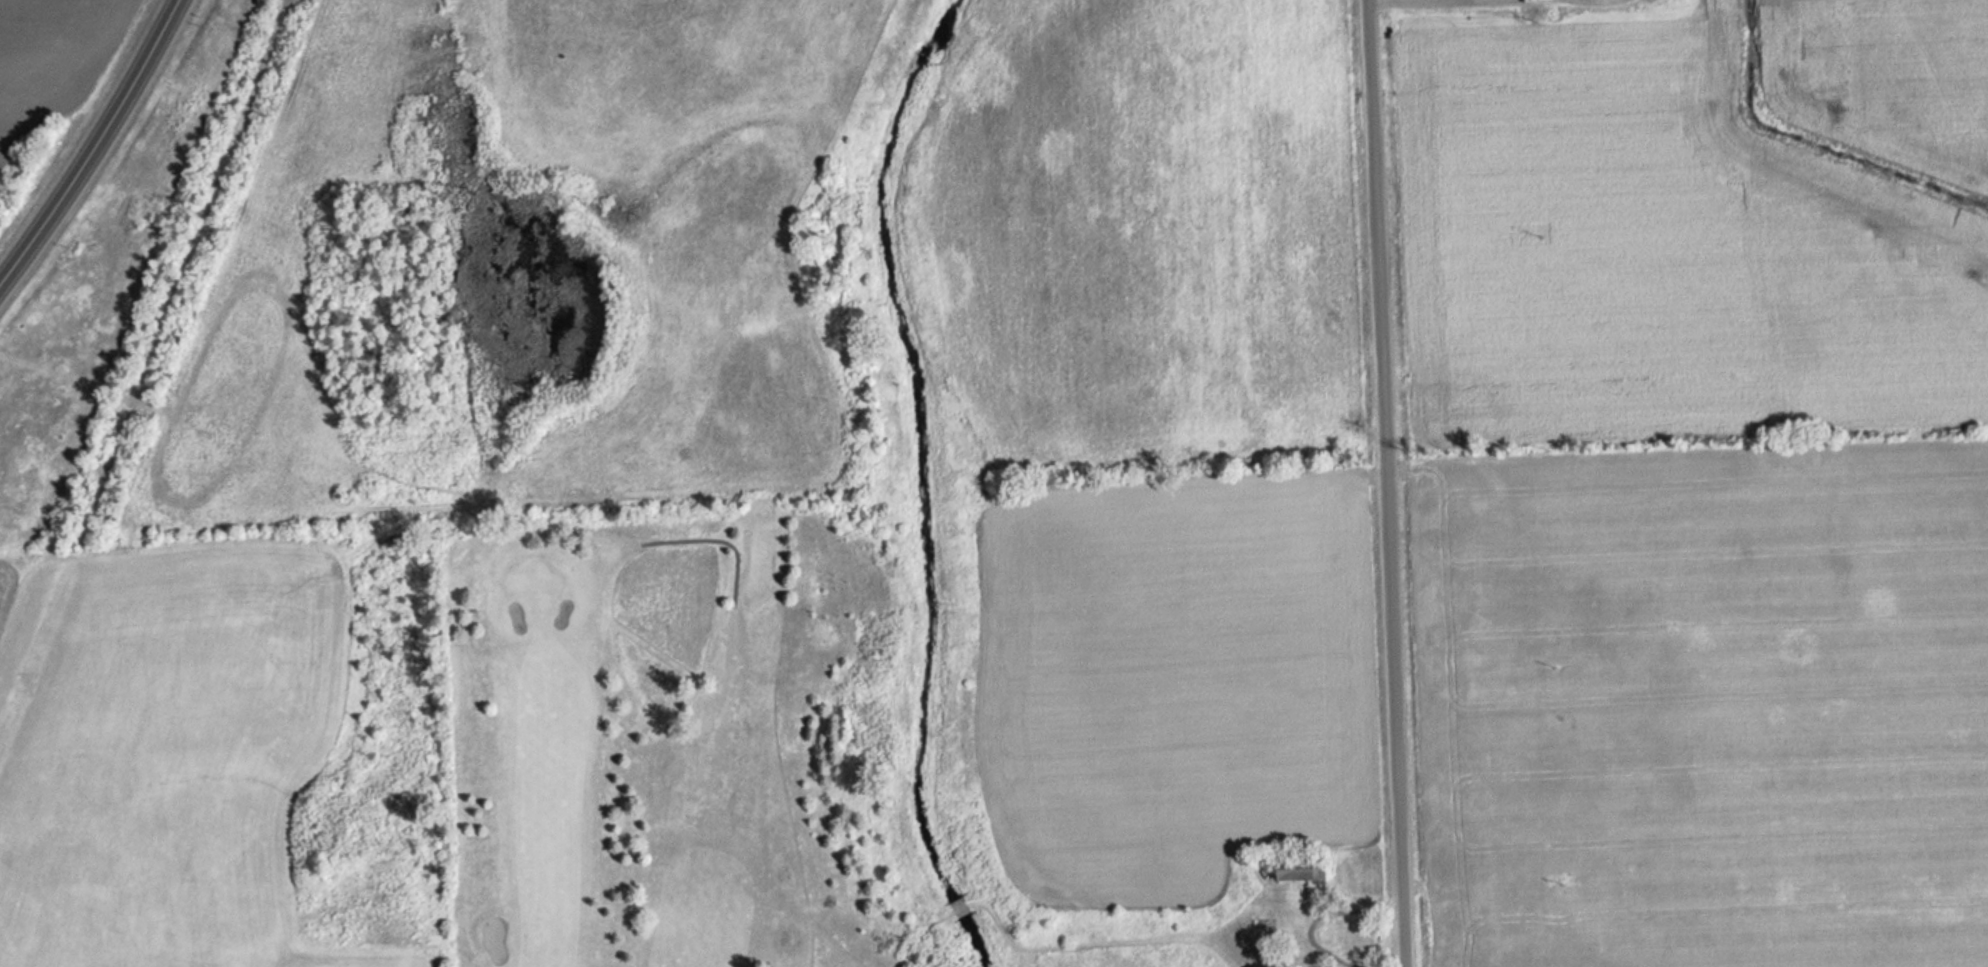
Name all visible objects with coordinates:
building: (1532, 1)
building: (1537, 15)
crop: (48, 62)
road: (92, 143)
crop: (449, 398)
road: (1389, 483)
crop: (1698, 483)
park: (664, 747)
building: (1300, 869)

